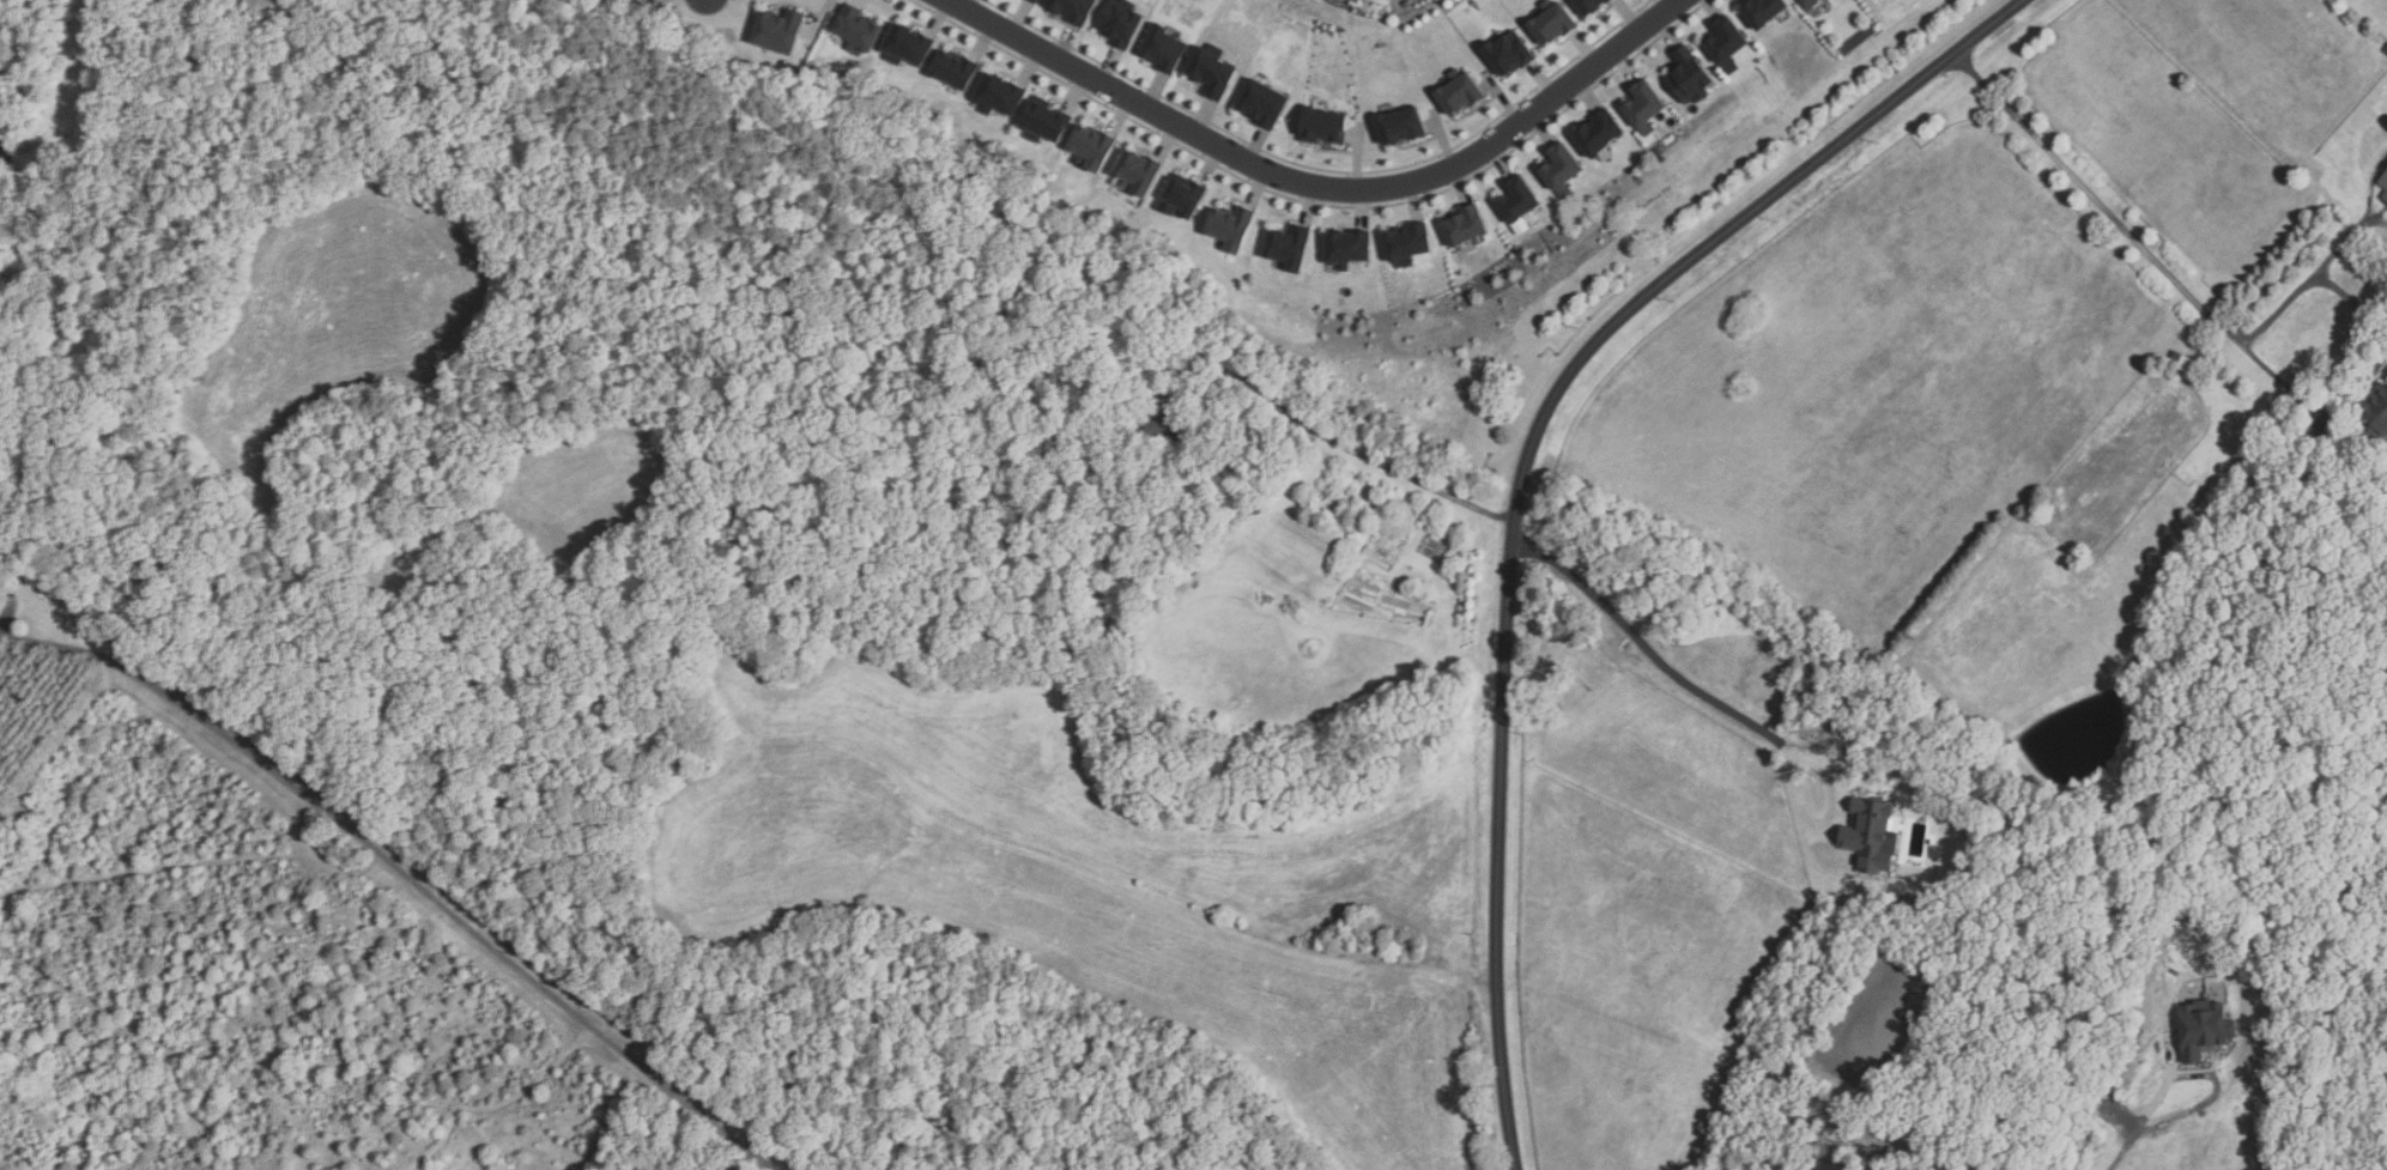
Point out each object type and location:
building: (646, 0)
building: (1036, 0)
building: (1610, 0)
building: (1810, 4)
building: (1589, 5)
building: (1074, 10)
building: (1764, 11)
building: (1121, 22)
building: (1553, 22)
building: (778, 30)
building: (858, 30)
building: (1726, 42)
building: (908, 44)
building: (1165, 49)
building: (2386, 51)
building: (1509, 53)
building: (955, 68)
building: (1213, 72)
building: (1688, 75)
building: (1460, 91)
building: (1000, 93)
building: (1265, 103)
building: (1644, 105)
building: (1044, 121)
building: (1323, 126)
building: (1401, 126)
building: (1599, 133)
building: (1093, 146)
building: (1559, 168)
building: (2386, 168)
building: (1139, 172)
building: (2385, 181)
road: (1320, 187)
building: (1182, 196)
building: (2385, 196)
road: (2095, 198)
building: (1516, 199)
building: (1462, 225)
building: (1231, 226)
road: (2345, 241)
building: (1407, 243)
building: (1289, 247)
building: (1347, 247)
road: (2353, 303)
road: (2278, 314)
building: (2187, 364)
road: (2310, 405)
building: (2374, 416)
building: (1168, 423)
road: (1338, 441)
road: (1523, 473)
building: (2204, 510)
road: (1727, 708)
river: (2092, 762)
building: (1872, 835)
road: (402, 869)
building: (2278, 1013)
building: (2205, 1031)
building: (2135, 1042)
building: (2092, 1095)
road: (2121, 1130)
building: (1933, 1139)
building: (1952, 1151)
building: (1894, 1154)
building: (1925, 1169)

